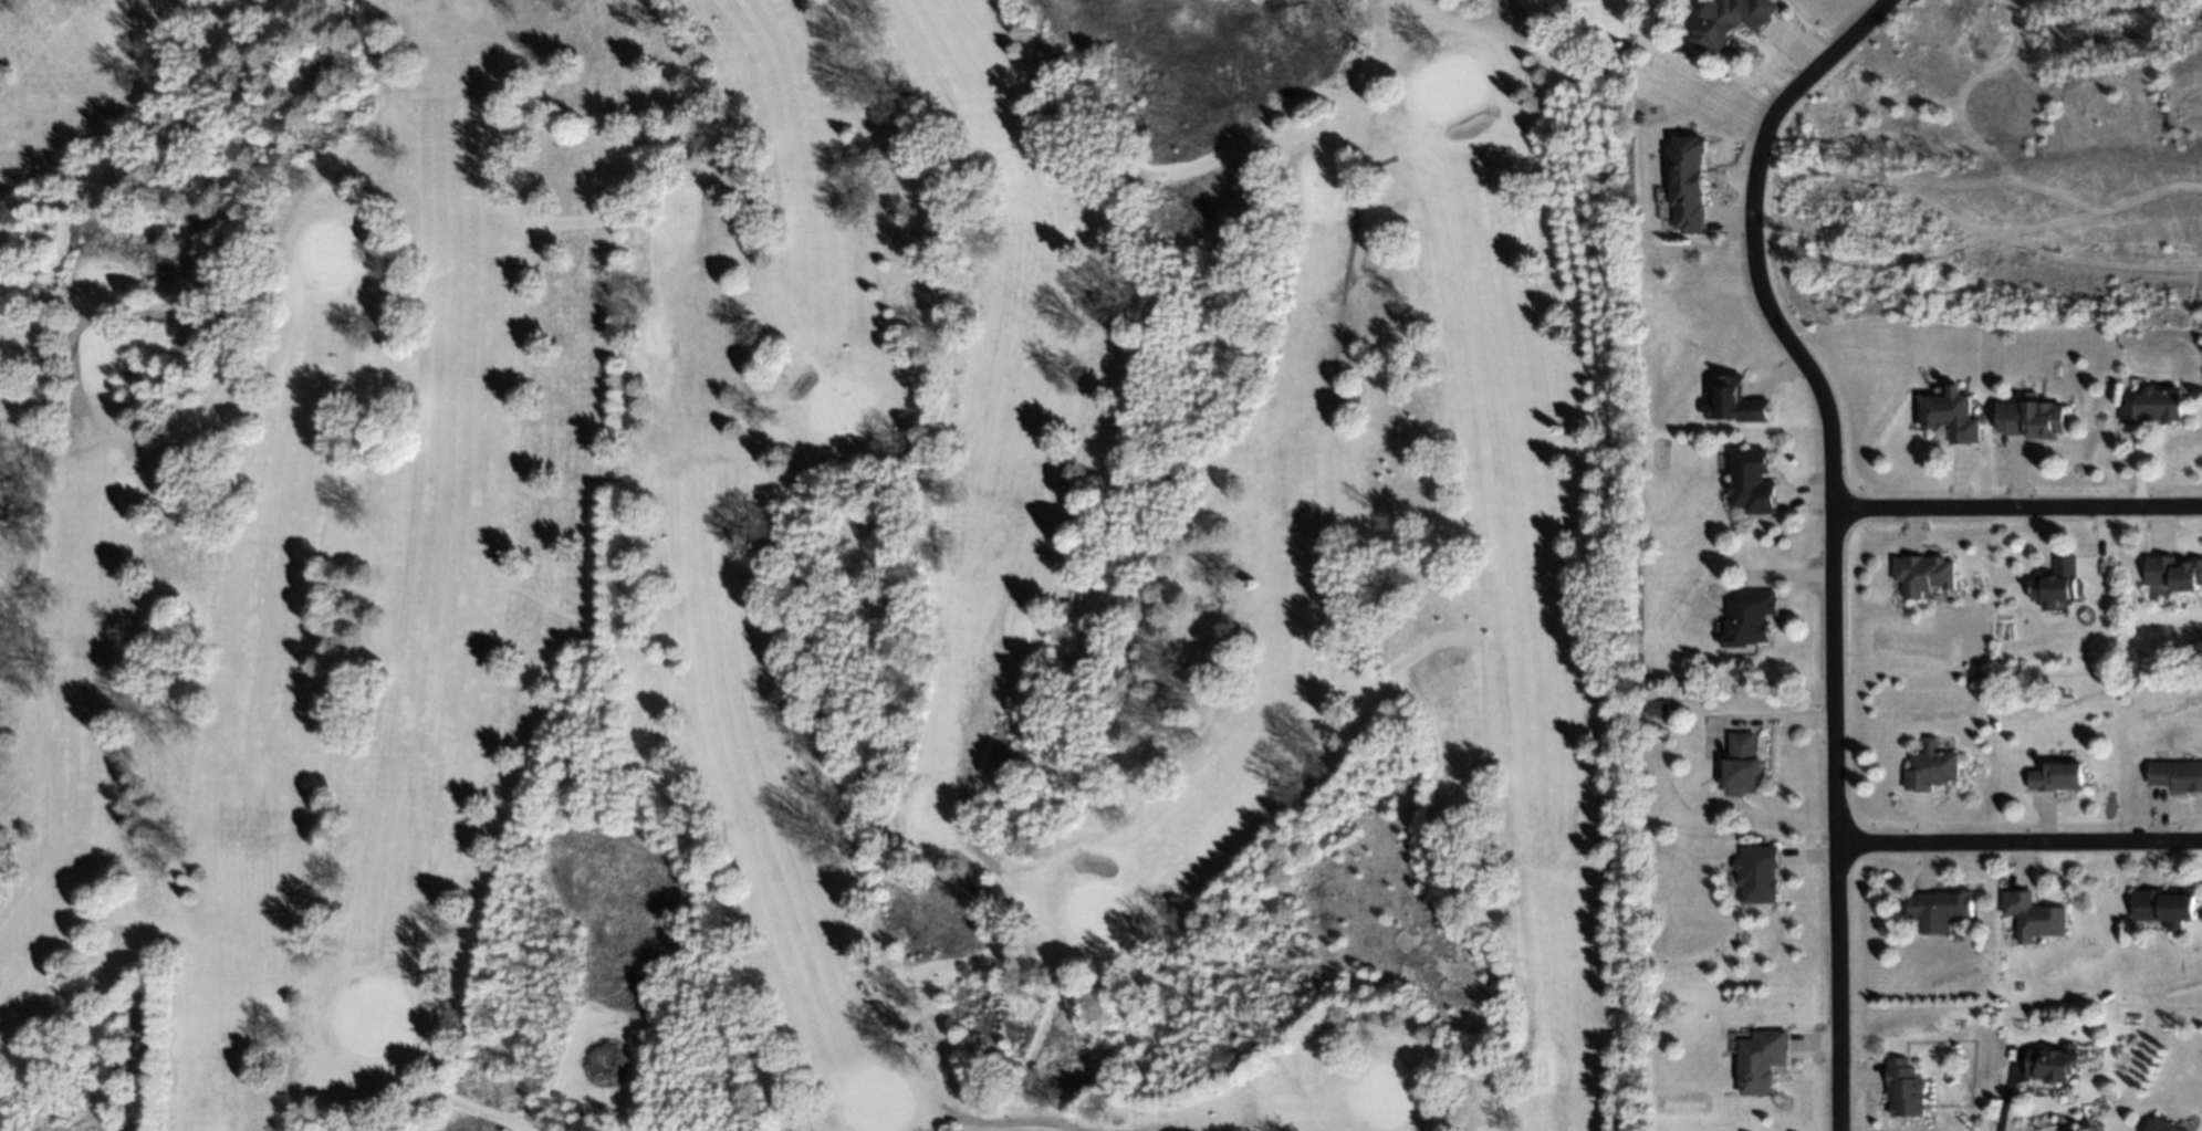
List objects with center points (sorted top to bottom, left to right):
building: (1731, 21)
road: (1583, 61)
road: (711, 181)
building: (1688, 184)
road: (1343, 272)
road: (132, 315)
building: (1737, 401)
building: (2153, 406)
building: (1952, 416)
building: (2033, 419)
building: (1753, 481)
road: (2017, 505)
road: (1833, 530)
park: (814, 566)
building: (1924, 573)
building: (2174, 573)
building: (2056, 583)
building: (1750, 618)
road: (1764, 721)
building: (1744, 764)
building: (1930, 767)
building: (2177, 776)
building: (2057, 777)
road: (960, 829)
road: (2020, 842)
building: (1759, 873)
building: (2166, 908)
building: (1940, 910)
building: (2034, 915)
road: (1211, 1013)
building: (1761, 1060)
building: (2054, 1062)
building: (1906, 1088)
road: (1006, 1123)
building: (2162, 1124)

